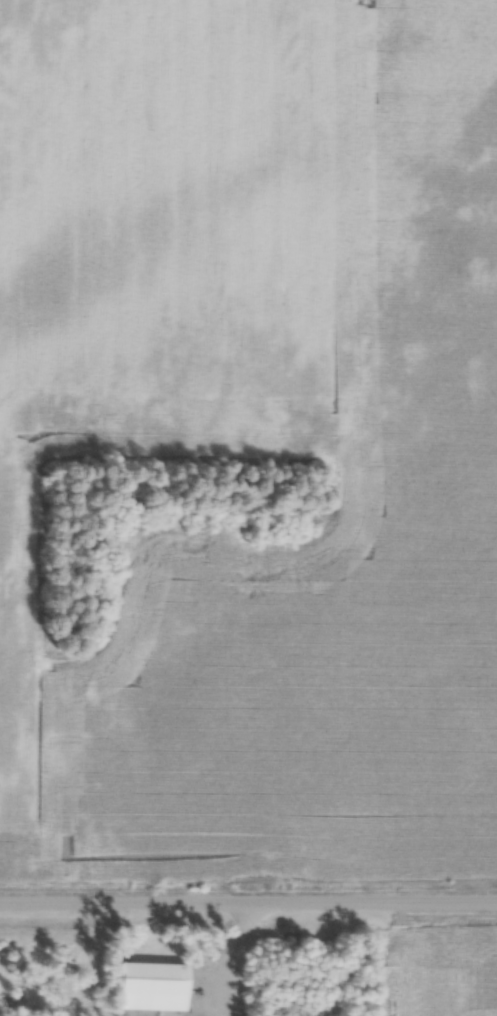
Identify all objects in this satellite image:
road: (248, 900)
road: (234, 955)
building: (147, 986)

